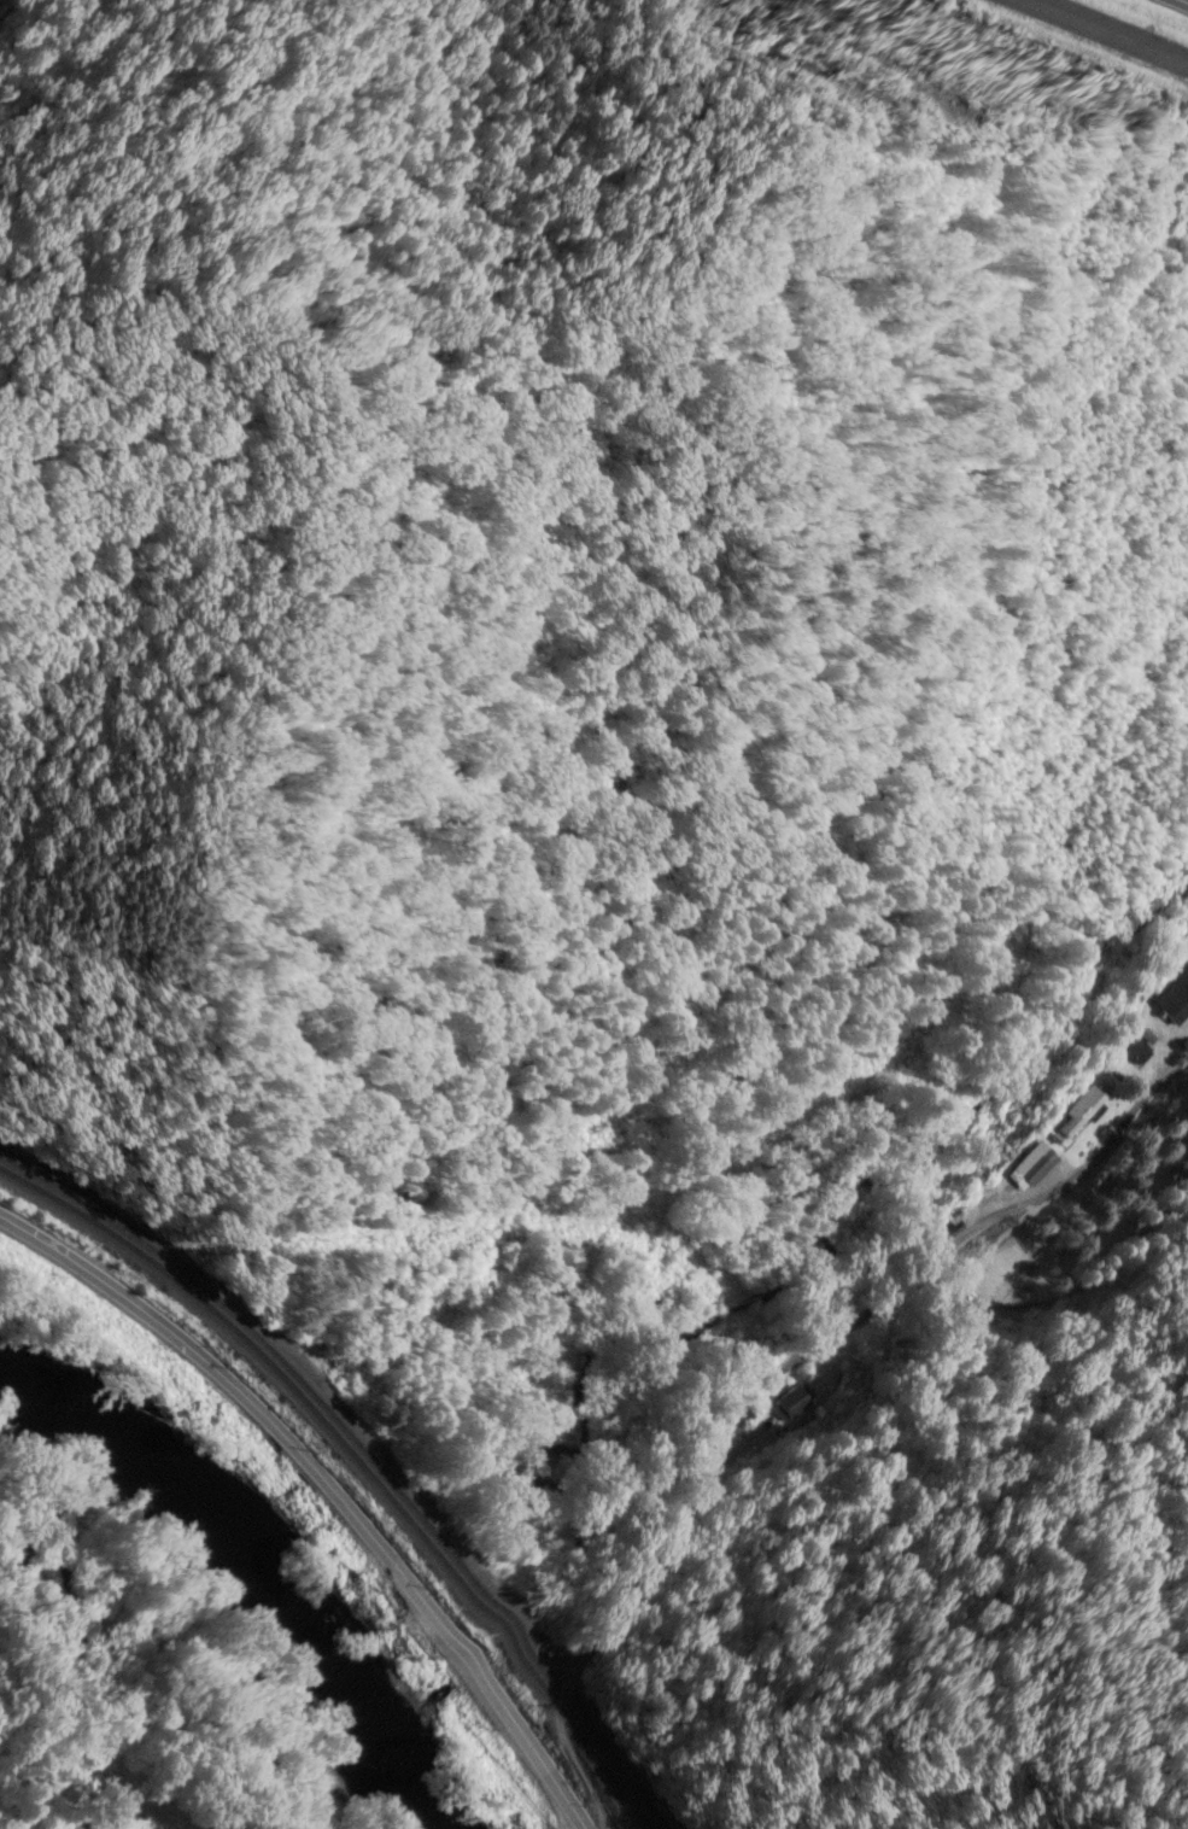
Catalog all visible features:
building: (1172, 999)
building: (1129, 1048)
building: (1078, 1110)
building: (1031, 1165)
road: (771, 1397)
building: (788, 1406)
railway: (358, 1460)
road: (328, 1488)
river: (229, 1583)

